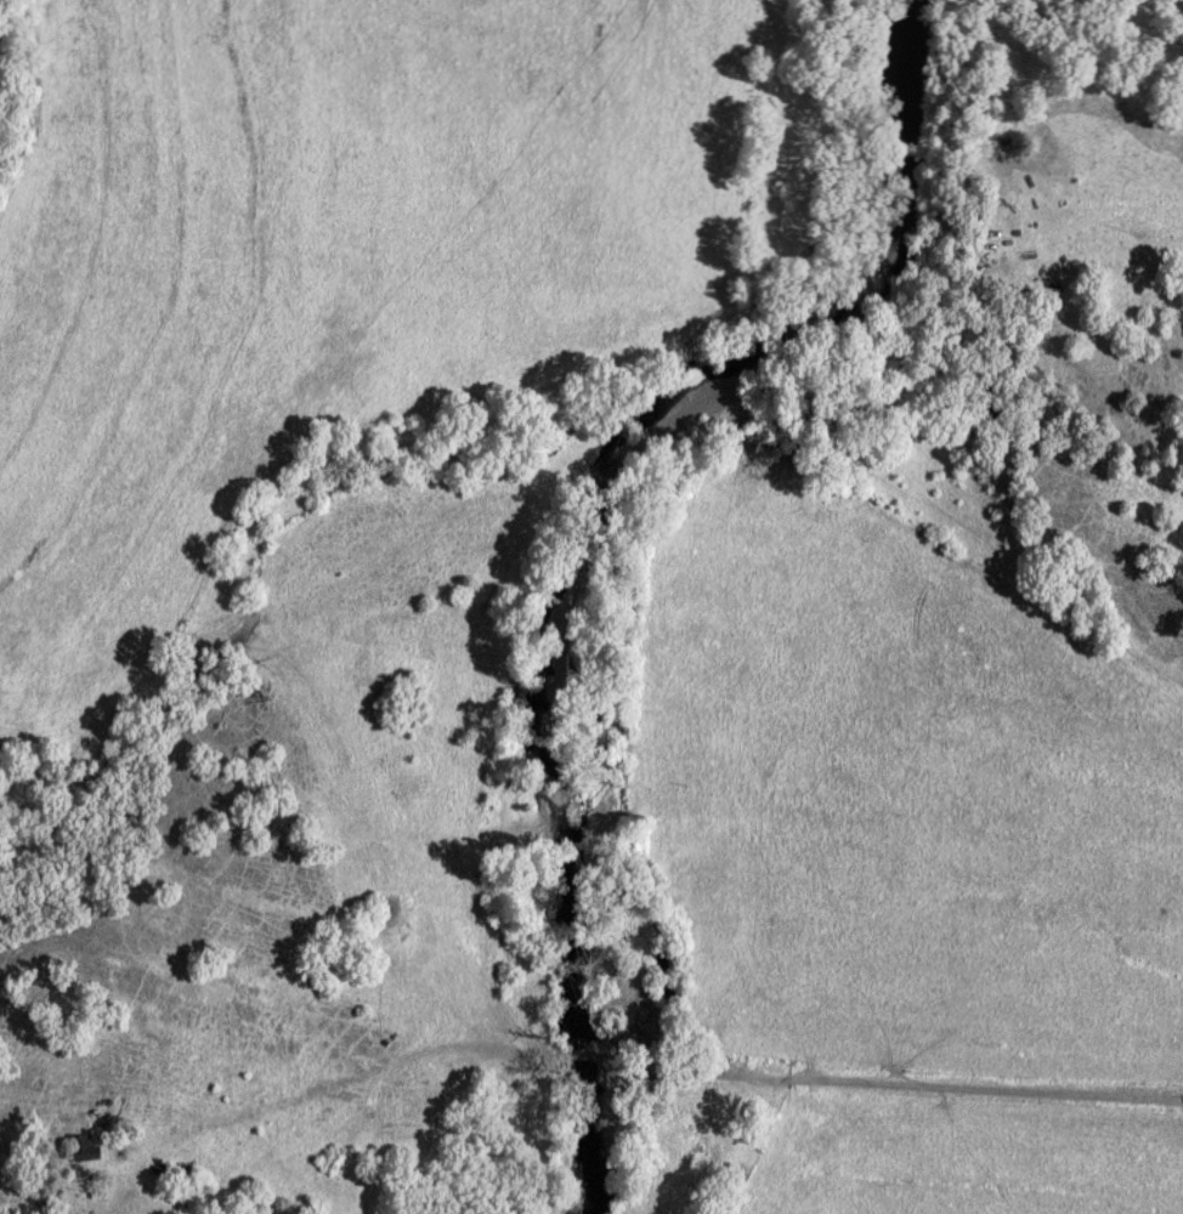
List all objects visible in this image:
building: (85, 1145)
road: (23, 1182)

